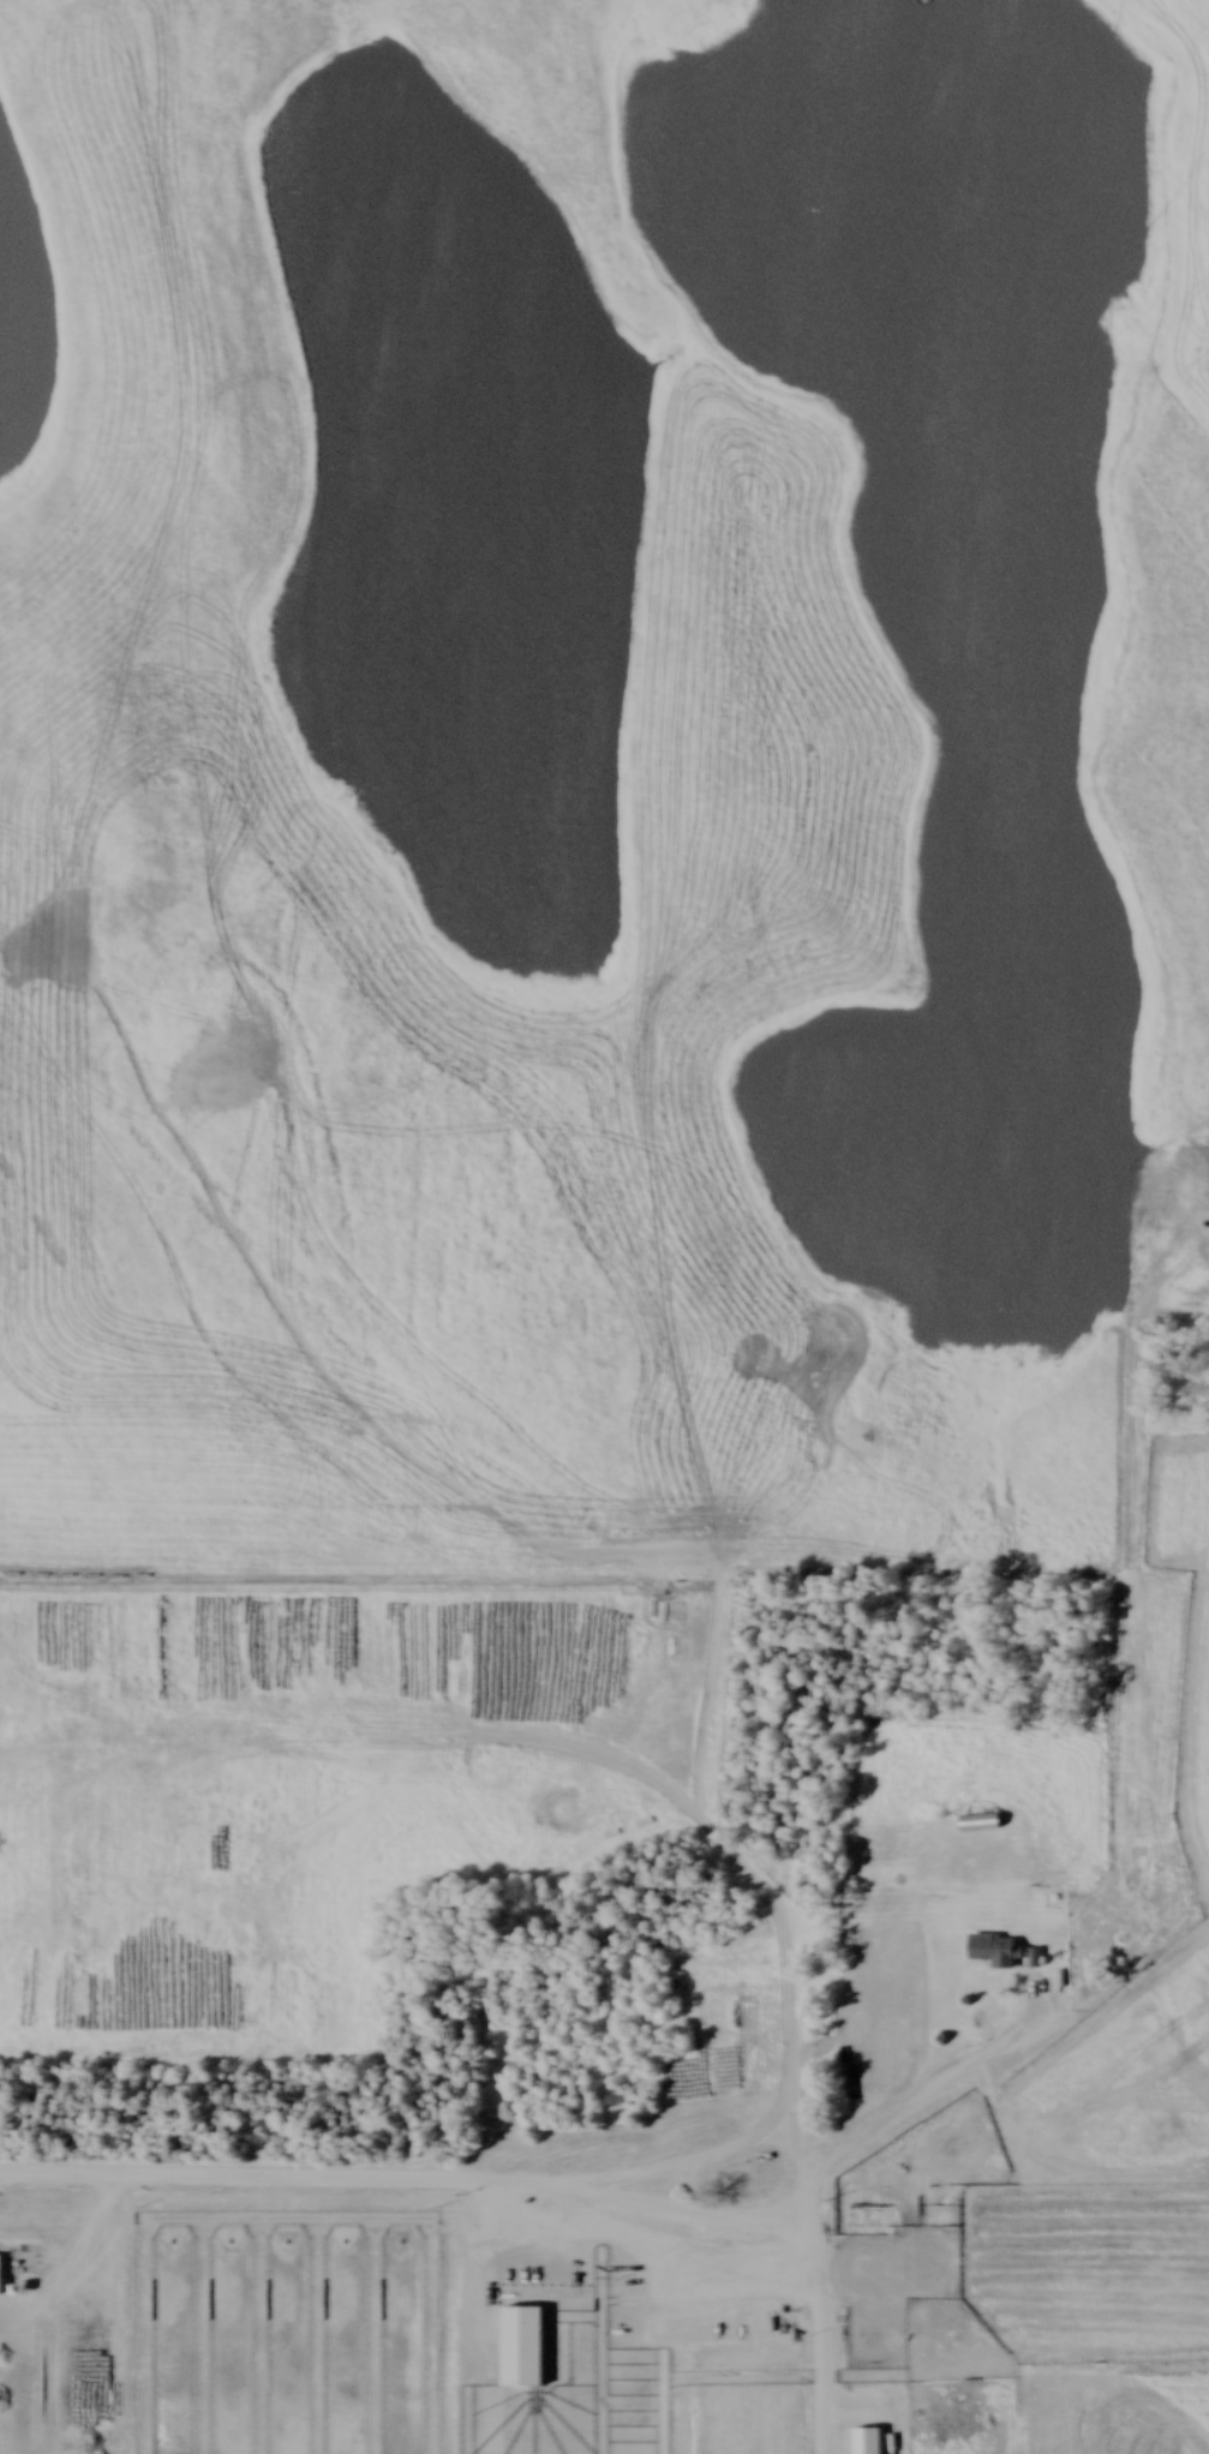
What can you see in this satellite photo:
building: (977, 1821)
building: (1058, 1897)
building: (1001, 1951)
road: (409, 2175)
building: (869, 2264)
building: (870, 2443)

